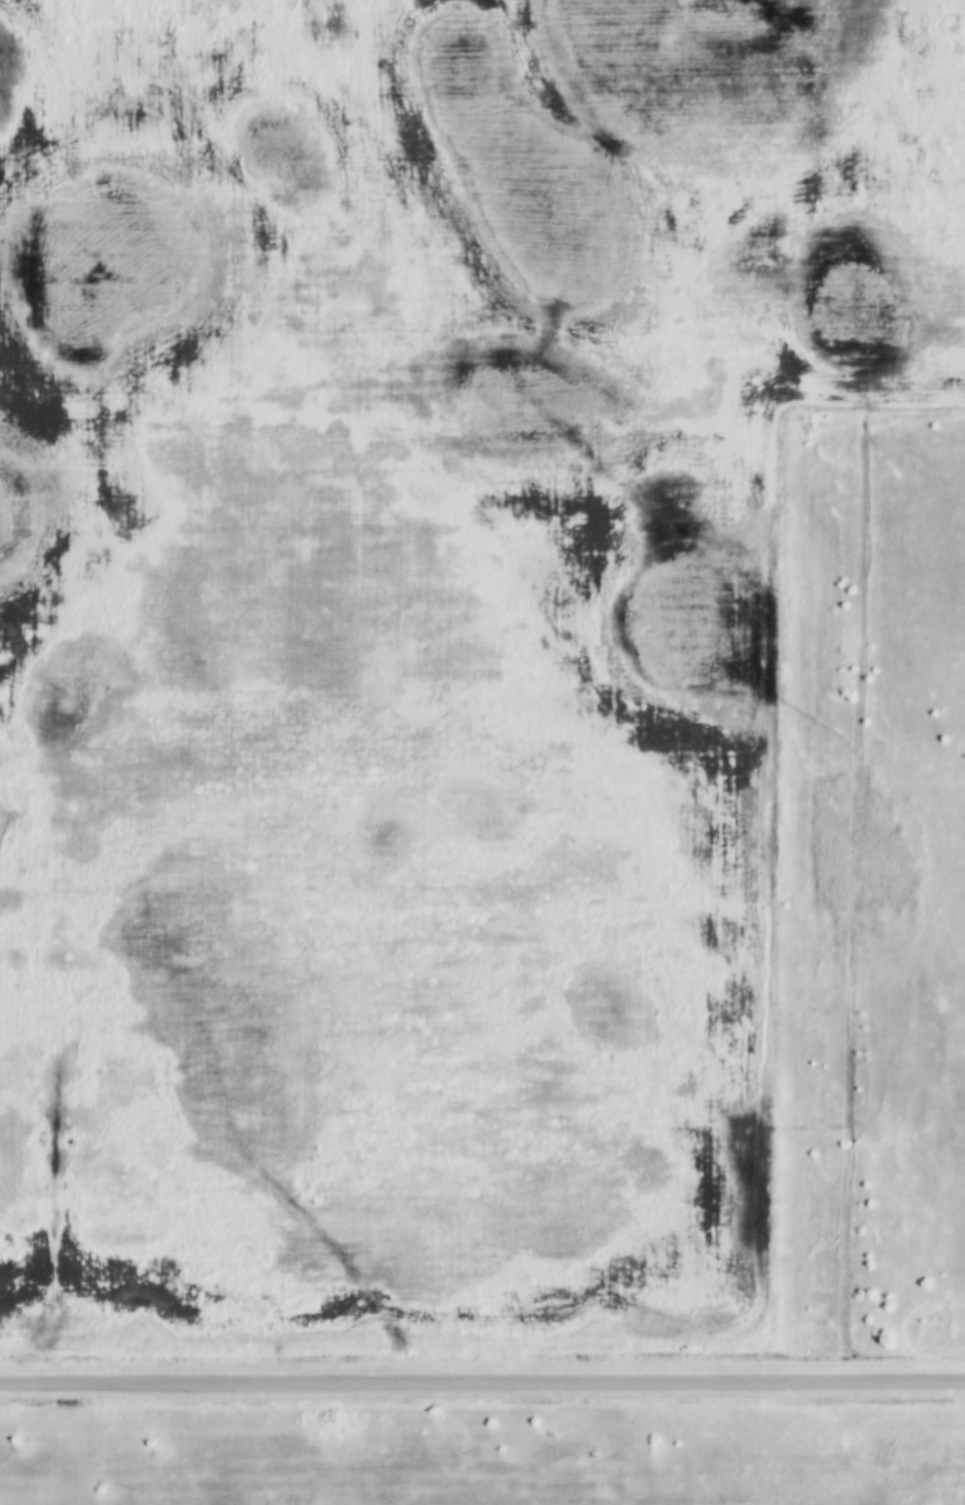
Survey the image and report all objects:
road: (482, 1384)

